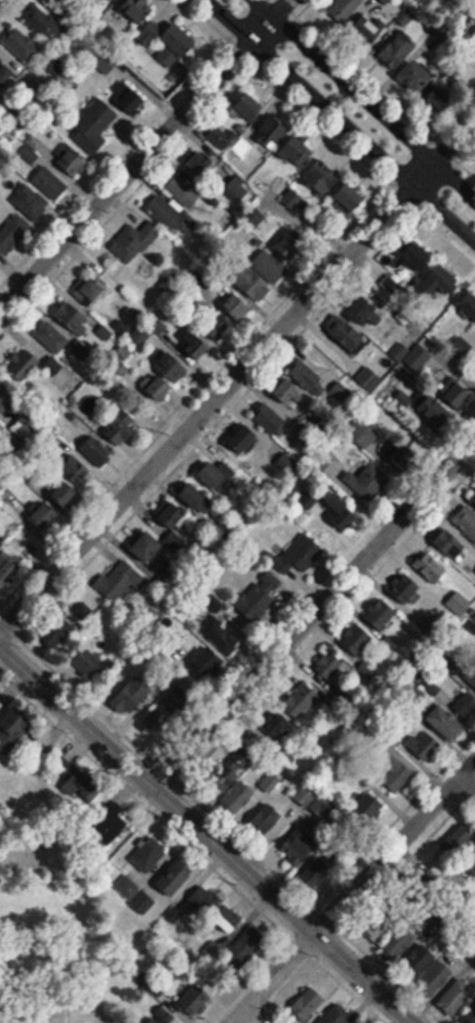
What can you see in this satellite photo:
building: (110, 0)
building: (70, 4)
building: (344, 9)
building: (137, 10)
building: (42, 23)
building: (366, 35)
building: (21, 44)
building: (175, 45)
building: (398, 52)
building: (5, 74)
building: (416, 76)
road: (375, 88)
road: (365, 99)
building: (132, 101)
building: (439, 101)
building: (248, 109)
road: (340, 120)
building: (94, 126)
road: (329, 129)
building: (272, 131)
building: (229, 141)
building: (297, 152)
road: (144, 154)
building: (69, 160)
building: (200, 164)
building: (323, 176)
building: (50, 182)
building: (183, 190)
building: (352, 198)
building: (30, 202)
building: (168, 214)
building: (252, 216)
building: (12, 232)
building: (135, 242)
building: (294, 243)
building: (417, 256)
building: (439, 284)
building: (389, 286)
building: (258, 287)
building: (90, 291)
building: (236, 306)
building: (469, 308)
building: (363, 310)
building: (72, 316)
building: (218, 325)
building: (346, 334)
building: (51, 336)
building: (196, 343)
building: (461, 349)
building: (418, 357)
building: (472, 363)
building: (23, 366)
building: (173, 366)
road: (237, 375)
building: (305, 375)
building: (369, 379)
building: (160, 387)
building: (340, 392)
building: (457, 394)
building: (6, 400)
building: (433, 412)
building: (268, 417)
building: (122, 428)
building: (362, 432)
building: (244, 438)
building: (96, 450)
building: (400, 454)
building: (214, 473)
building: (73, 480)
building: (368, 483)
building: (193, 495)
building: (309, 498)
building: (340, 511)
building: (173, 514)
building: (44, 516)
building: (465, 521)
building: (147, 546)
building: (457, 547)
building: (299, 555)
building: (431, 567)
building: (7, 569)
building: (120, 579)
building: (406, 589)
building: (259, 596)
road: (314, 611)
building: (381, 614)
building: (221, 635)
building: (357, 638)
building: (207, 661)
building: (91, 665)
building: (330, 666)
building: (474, 668)
building: (473, 680)
building: (132, 695)
building: (300, 700)
building: (466, 705)
building: (164, 709)
building: (13, 718)
building: (446, 722)
building: (277, 724)
building: (425, 745)
building: (230, 774)
building: (396, 774)
road: (468, 780)
building: (79, 782)
building: (250, 792)
building: (305, 795)
building: (322, 806)
building: (368, 806)
building: (265, 819)
building: (110, 822)
road: (206, 834)
building: (461, 837)
road: (393, 846)
building: (148, 855)
building: (317, 870)
building: (175, 877)
building: (127, 888)
building: (203, 901)
building: (142, 902)
building: (228, 919)
building: (378, 925)
building: (398, 944)
building: (246, 948)
building: (421, 958)
road: (270, 978)
building: (435, 979)
building: (456, 997)
building: (195, 1001)
building: (308, 1003)
building: (470, 1013)
building: (337, 1015)
building: (162, 1018)

